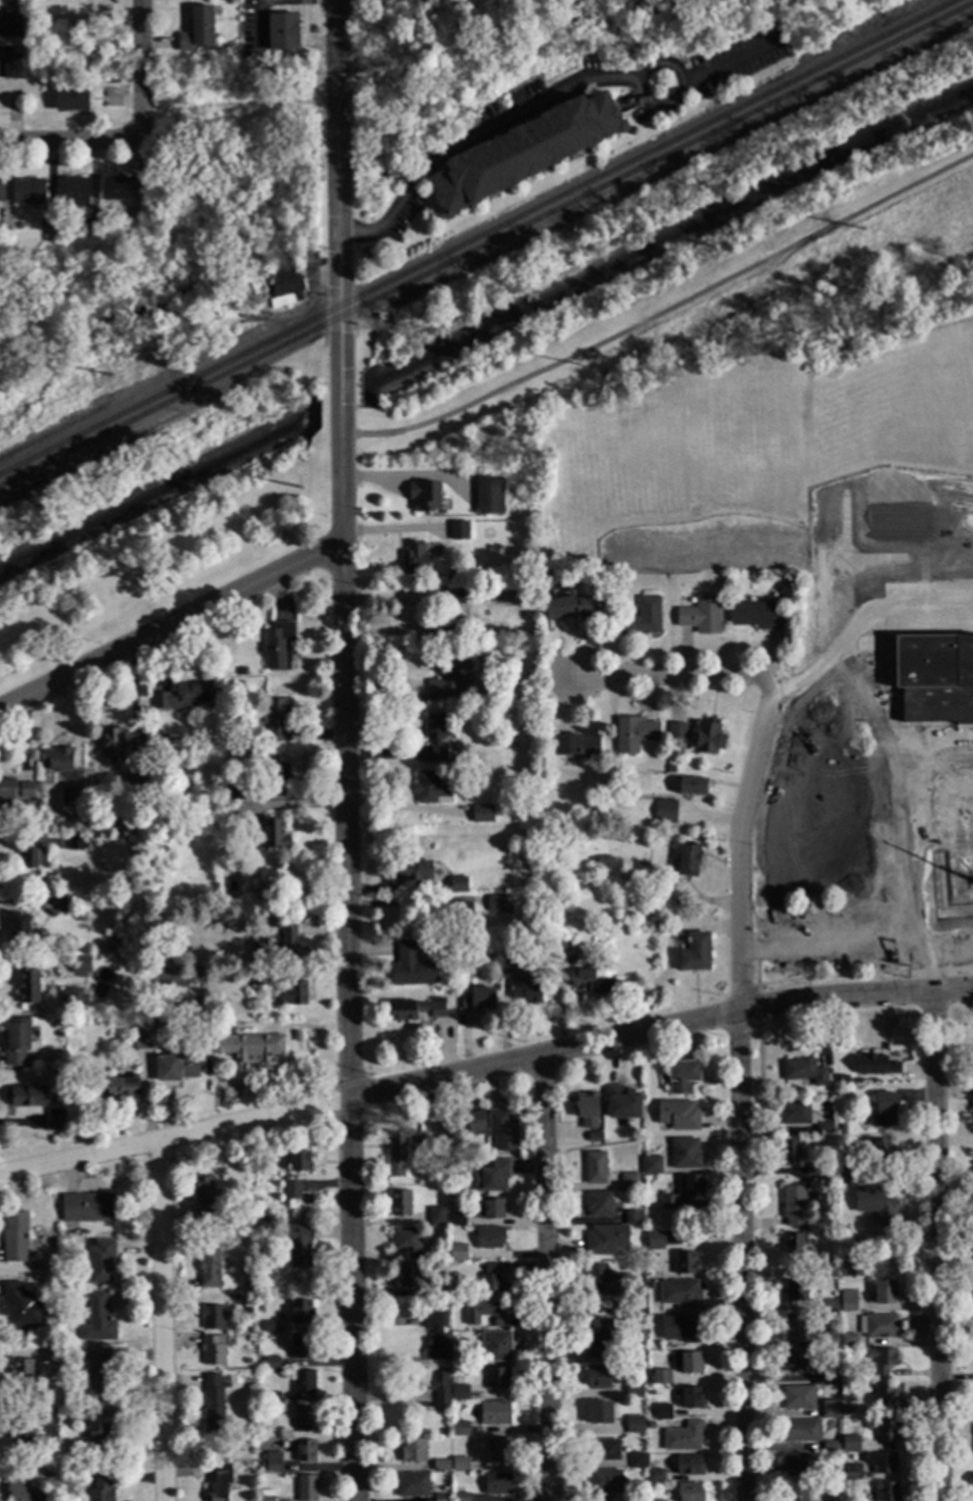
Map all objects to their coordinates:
building: (11, 29)
building: (196, 33)
building: (282, 33)
park: (517, 59)
road: (728, 66)
road: (137, 69)
building: (11, 70)
road: (675, 101)
building: (70, 103)
road: (239, 105)
road: (474, 136)
road: (68, 138)
building: (524, 152)
railway: (649, 153)
building: (116, 191)
road: (339, 191)
building: (1, 192)
building: (75, 194)
building: (27, 195)
power tower: (863, 229)
park: (169, 232)
railway: (486, 246)
park: (688, 279)
building: (286, 285)
building: (244, 290)
road: (663, 313)
building: (379, 317)
power tower: (578, 366)
power tower: (109, 375)
park: (951, 382)
railway: (171, 392)
road: (341, 401)
road: (342, 428)
power tower: (301, 488)
road: (342, 491)
building: (423, 496)
building: (488, 497)
park: (163, 517)
building: (459, 531)
building: (413, 560)
building: (454, 597)
building: (786, 600)
building: (565, 608)
building: (700, 615)
building: (753, 615)
building: (640, 619)
building: (449, 628)
road: (171, 629)
building: (277, 646)
building: (521, 648)
building: (451, 678)
road: (672, 679)
building: (181, 698)
building: (274, 719)
building: (675, 731)
building: (633, 734)
building: (436, 737)
building: (708, 739)
building: (110, 743)
building: (574, 746)
building: (57, 760)
building: (134, 769)
building: (670, 769)
building: (277, 773)
building: (632, 783)
building: (691, 787)
building: (430, 790)
building: (13, 791)
building: (235, 792)
building: (69, 797)
building: (664, 812)
building: (481, 814)
building: (271, 837)
building: (76, 844)
building: (160, 852)
building: (902, 852)
building: (32, 858)
road: (924, 858)
building: (687, 860)
building: (410, 871)
building: (664, 877)
building: (457, 885)
building: (654, 896)
road: (398, 904)
building: (495, 904)
building: (62, 905)
building: (78, 916)
building: (455, 916)
building: (18, 927)
building: (289, 935)
building: (557, 949)
building: (258, 951)
building: (694, 952)
building: (79, 964)
building: (505, 964)
building: (411, 968)
building: (259, 977)
building: (28, 982)
building: (590, 983)
building: (525, 990)
building: (292, 995)
building: (473, 998)
building: (73, 1000)
building: (416, 1010)
road: (346, 1023)
building: (159, 1035)
building: (297, 1037)
building: (141, 1041)
building: (17, 1042)
building: (242, 1043)
building: (970, 1057)
building: (875, 1066)
building: (177, 1069)
road: (484, 1070)
building: (804, 1073)
building: (682, 1077)
building: (842, 1079)
road: (740, 1087)
building: (119, 1088)
building: (24, 1097)
building: (622, 1104)
building: (586, 1109)
building: (883, 1112)
building: (795, 1115)
building: (677, 1117)
building: (55, 1120)
building: (462, 1127)
building: (824, 1130)
building: (502, 1131)
building: (840, 1131)
building: (594, 1137)
building: (789, 1152)
building: (877, 1152)
building: (403, 1154)
building: (684, 1155)
building: (299, 1162)
building: (651, 1166)
building: (595, 1170)
building: (812, 1171)
building: (847, 1176)
building: (491, 1178)
building: (628, 1181)
building: (689, 1186)
building: (457, 1189)
building: (292, 1190)
building: (849, 1190)
building: (203, 1196)
building: (875, 1203)
building: (398, 1204)
building: (667, 1204)
building: (598, 1205)
building: (793, 1206)
building: (85, 1209)
building: (490, 1210)
building: (631, 1218)
building: (437, 1219)
building: (456, 1221)
building: (848, 1222)
building: (13, 1239)
building: (489, 1239)
building: (605, 1241)
building: (405, 1242)
building: (654, 1242)
building: (794, 1244)
building: (299, 1246)
road: (938, 1249)
building: (457, 1253)
building: (859, 1256)
building: (438, 1257)
building: (99, 1262)
building: (685, 1264)
building: (210, 1265)
building: (489, 1268)
building: (829, 1271)
building: (407, 1278)
road: (546, 1279)
building: (599, 1280)
building: (493, 1285)
building: (438, 1292)
building: (795, 1292)
building: (884, 1293)
building: (259, 1295)
building: (680, 1295)
building: (848, 1302)
building: (628, 1304)
building: (830, 1307)
building: (19, 1308)
building: (648, 1309)
building: (258, 1310)
building: (301, 1313)
building: (484, 1316)
building: (211, 1319)
road: (161, 1321)
building: (97, 1322)
building: (879, 1327)
building: (270, 1329)
building: (249, 1330)
building: (681, 1330)
building: (794, 1330)
building: (251, 1338)
building: (435, 1339)
building: (829, 1340)
building: (599, 1341)
building: (849, 1341)
building: (301, 1348)
building: (498, 1348)
building: (212, 1351)
building: (47, 1356)
building: (249, 1361)
building: (794, 1361)
building: (687, 1363)
building: (881, 1363)
building: (271, 1364)
building: (22, 1374)
building: (829, 1374)
building: (99, 1376)
building: (497, 1378)
building: (660, 1378)
building: (598, 1379)
building: (303, 1384)
building: (439, 1389)
building: (633, 1391)
building: (459, 1394)
building: (884, 1397)
building: (271, 1399)
building: (691, 1399)
building: (798, 1399)
building: (213, 1405)
building: (830, 1410)
building: (663, 1413)
building: (495, 1414)
building: (600, 1415)
building: (67, 1418)
building: (47, 1419)
building: (303, 1420)
building: (632, 1425)
building: (649, 1426)
building: (459, 1430)
building: (802, 1432)
building: (886, 1433)
building: (683, 1437)
building: (21, 1439)
building: (97, 1441)
building: (850, 1444)
building: (831, 1448)
building: (499, 1450)
building: (603, 1451)
building: (305, 1452)
building: (413, 1453)
building: (637, 1462)
building: (272, 1463)
building: (880, 1463)
building: (460, 1465)
building: (801, 1465)
building: (689, 1466)
building: (440, 1467)
building: (45, 1473)
building: (851, 1473)
building: (656, 1476)
building: (219, 1481)
building: (497, 1485)
building: (602, 1485)
building: (412, 1486)
building: (305, 1488)
building: (100, 1489)
building: (21, 1492)
building: (688, 1492)
building: (796, 1492)
building: (885, 1492)
building: (266, 1495)
building: (461, 1497)
building: (441, 1498)

